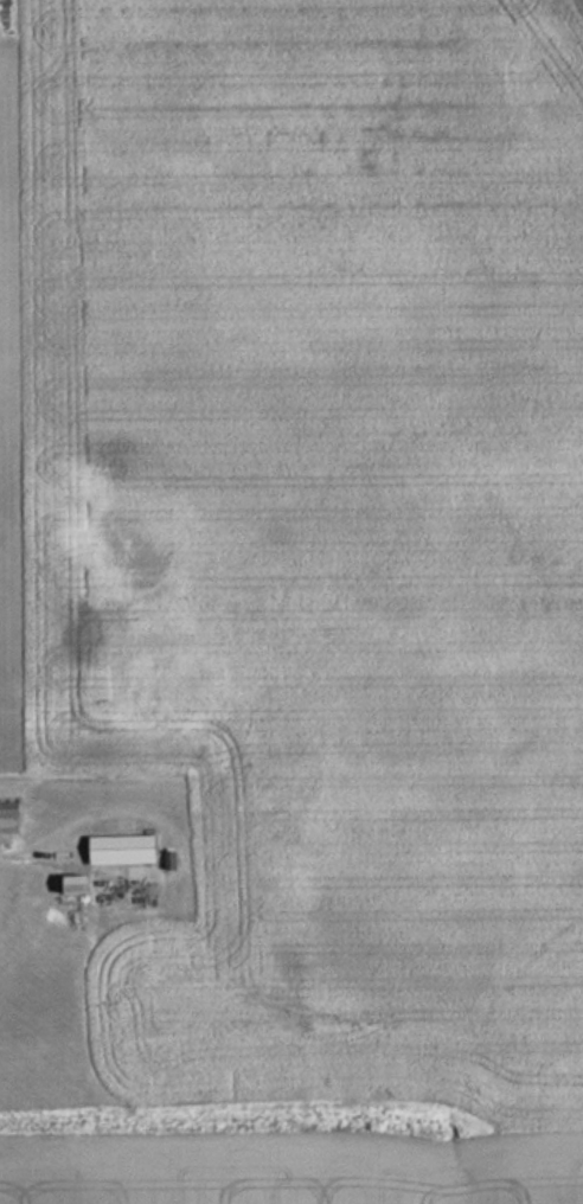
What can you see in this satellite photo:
building: (8, 819)
building: (118, 850)
building: (68, 885)

